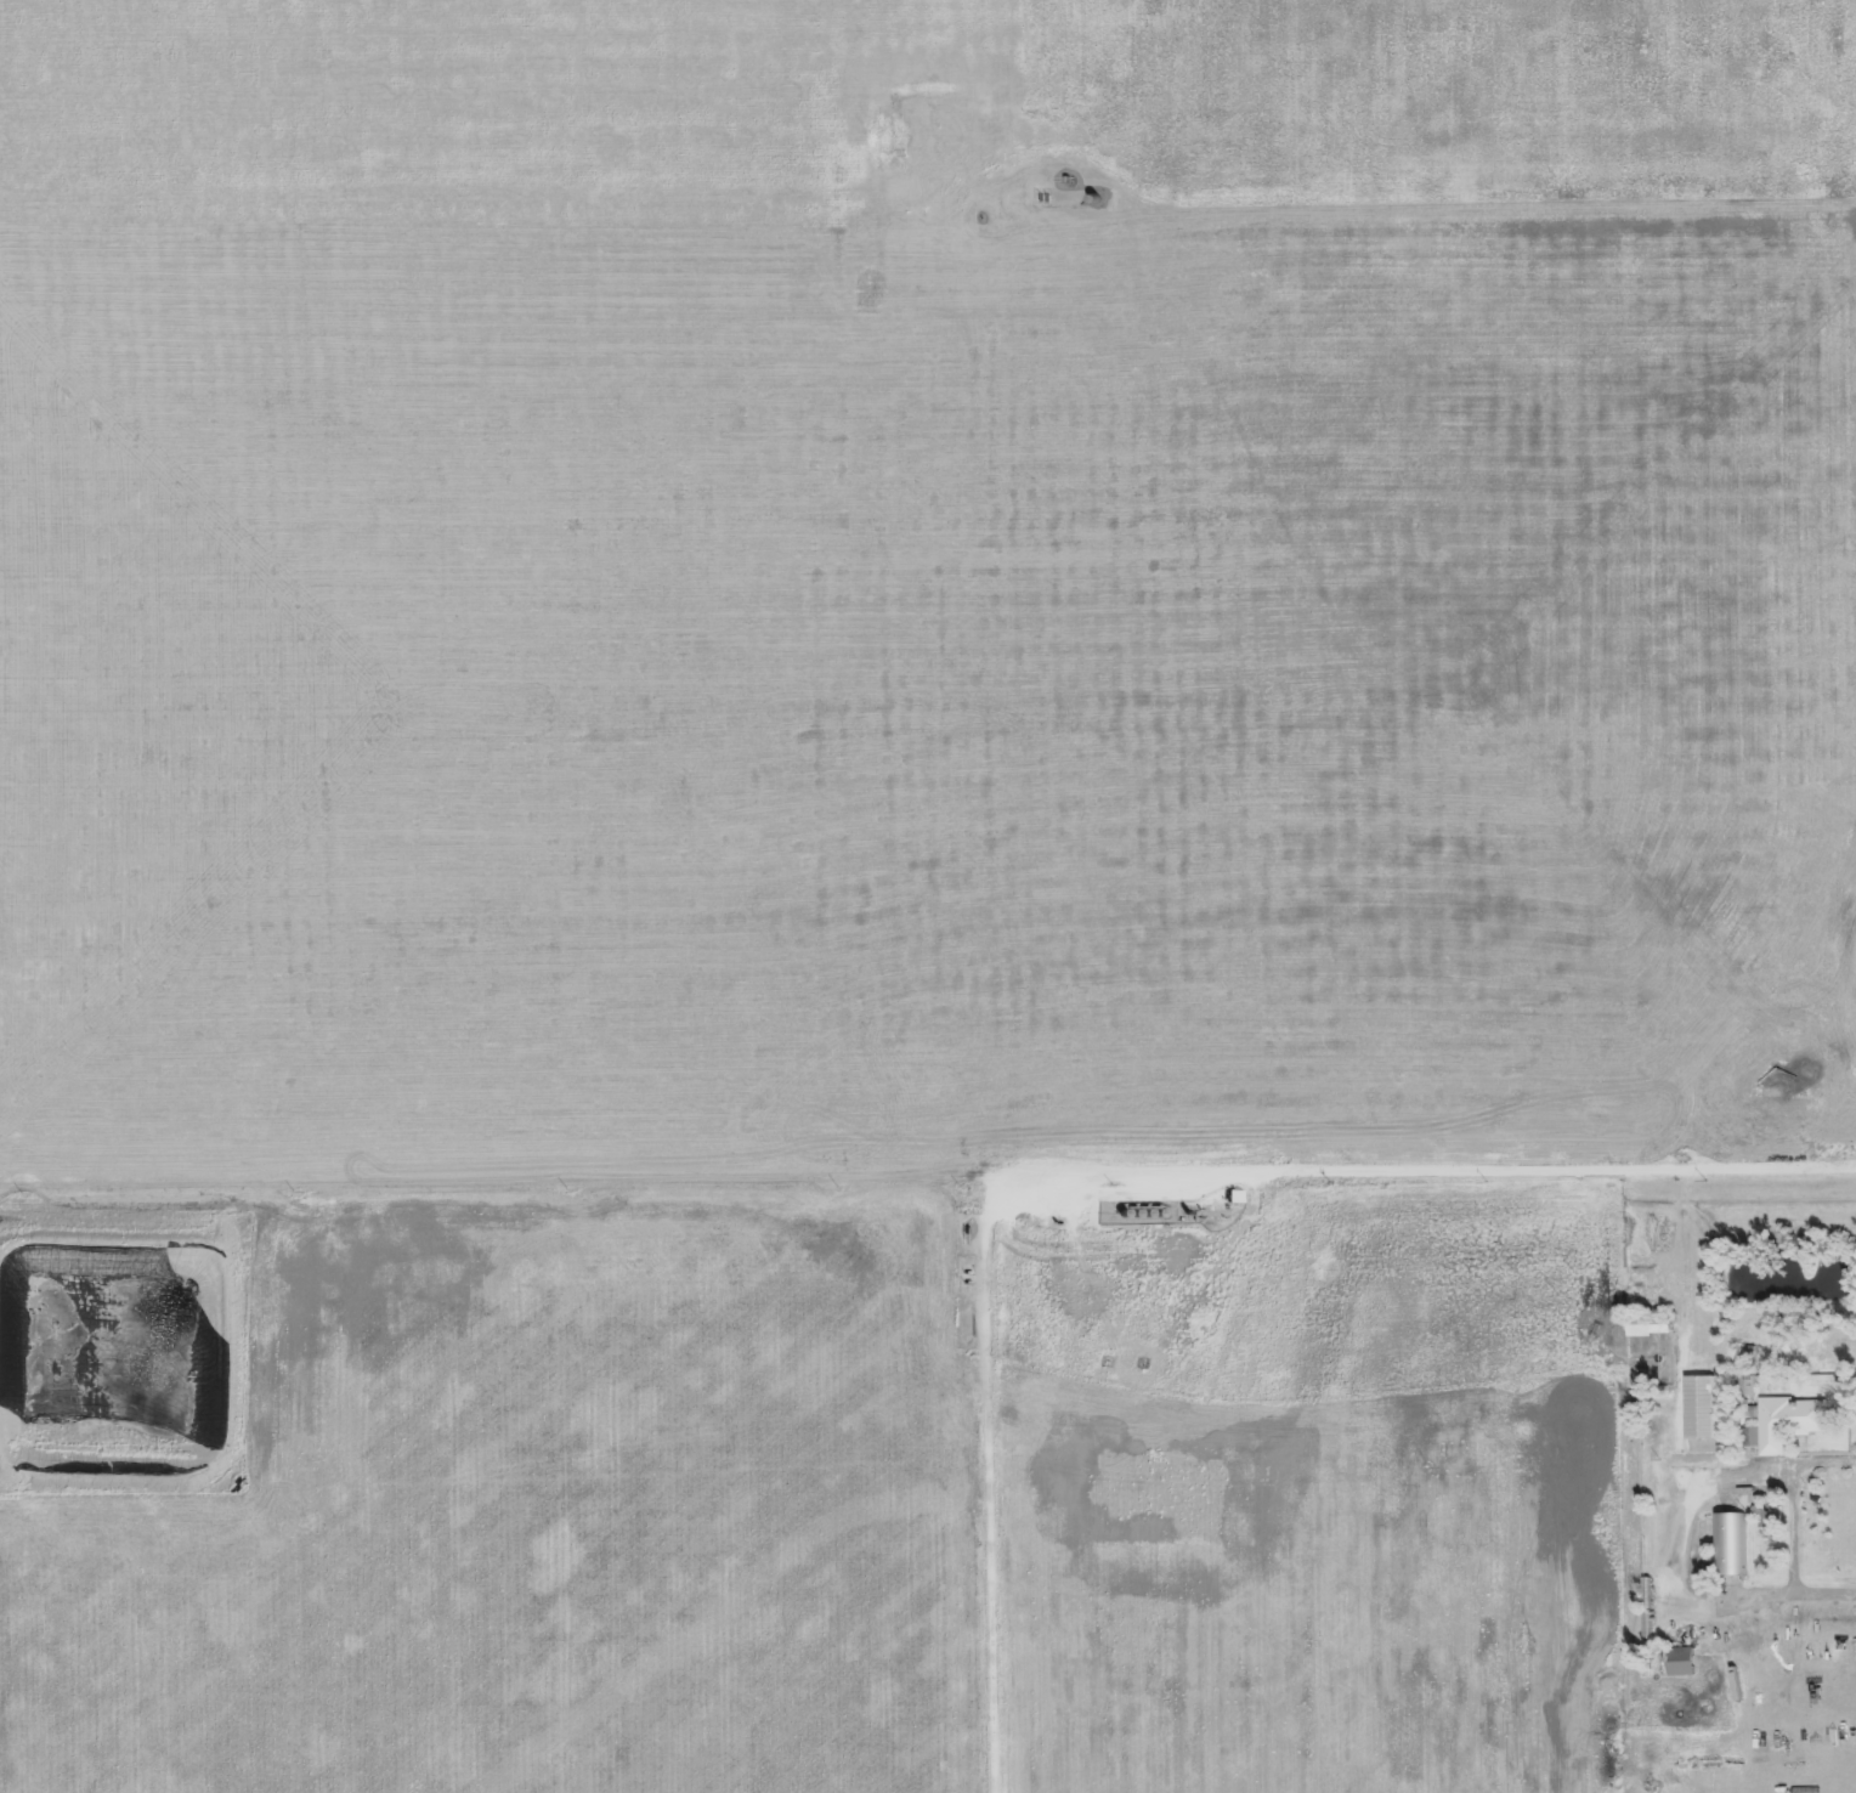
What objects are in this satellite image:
road: (1799, 1312)
building: (1694, 1404)
building: (1765, 1514)
building: (1727, 1542)

